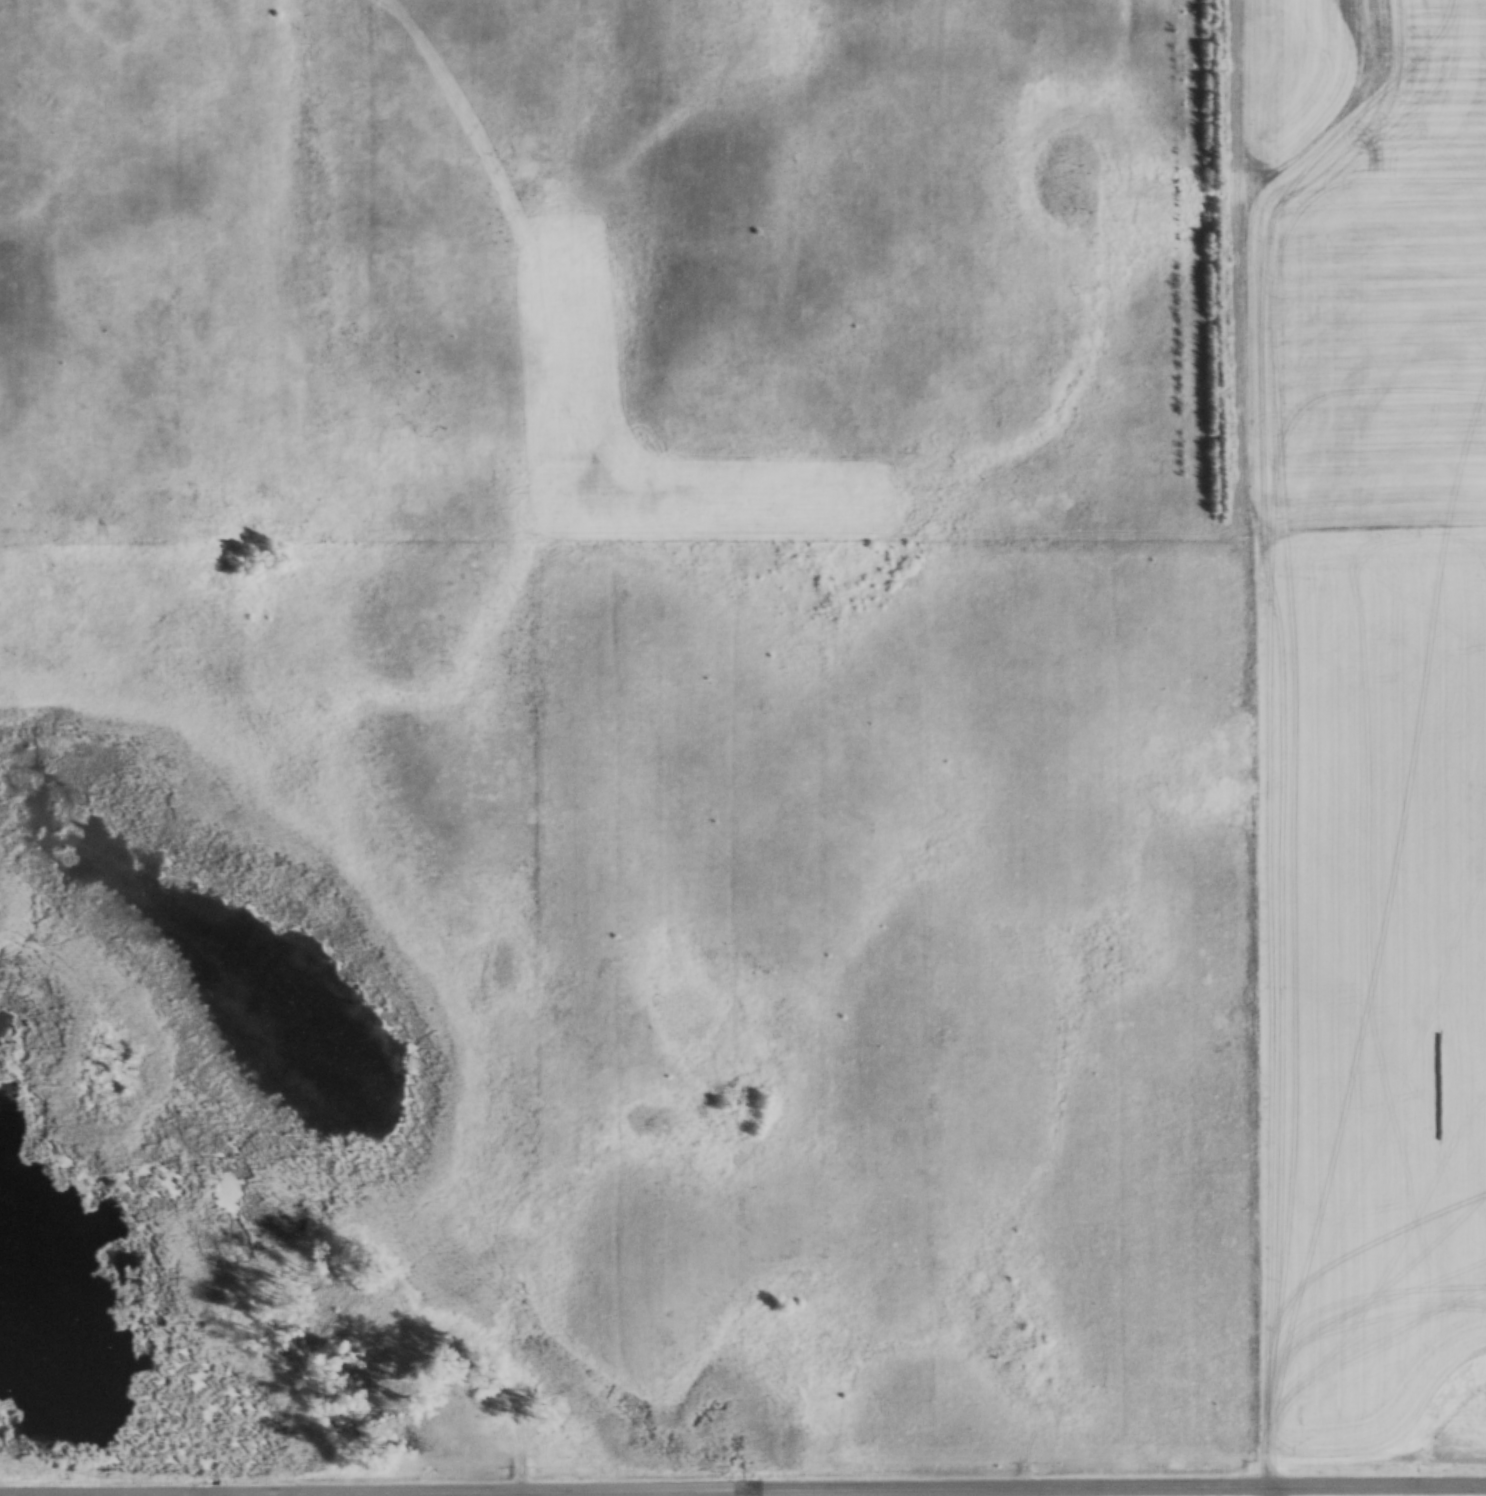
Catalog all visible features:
river: (83, 1191)
river: (178, 1292)
road: (742, 1486)
road: (1271, 1489)

